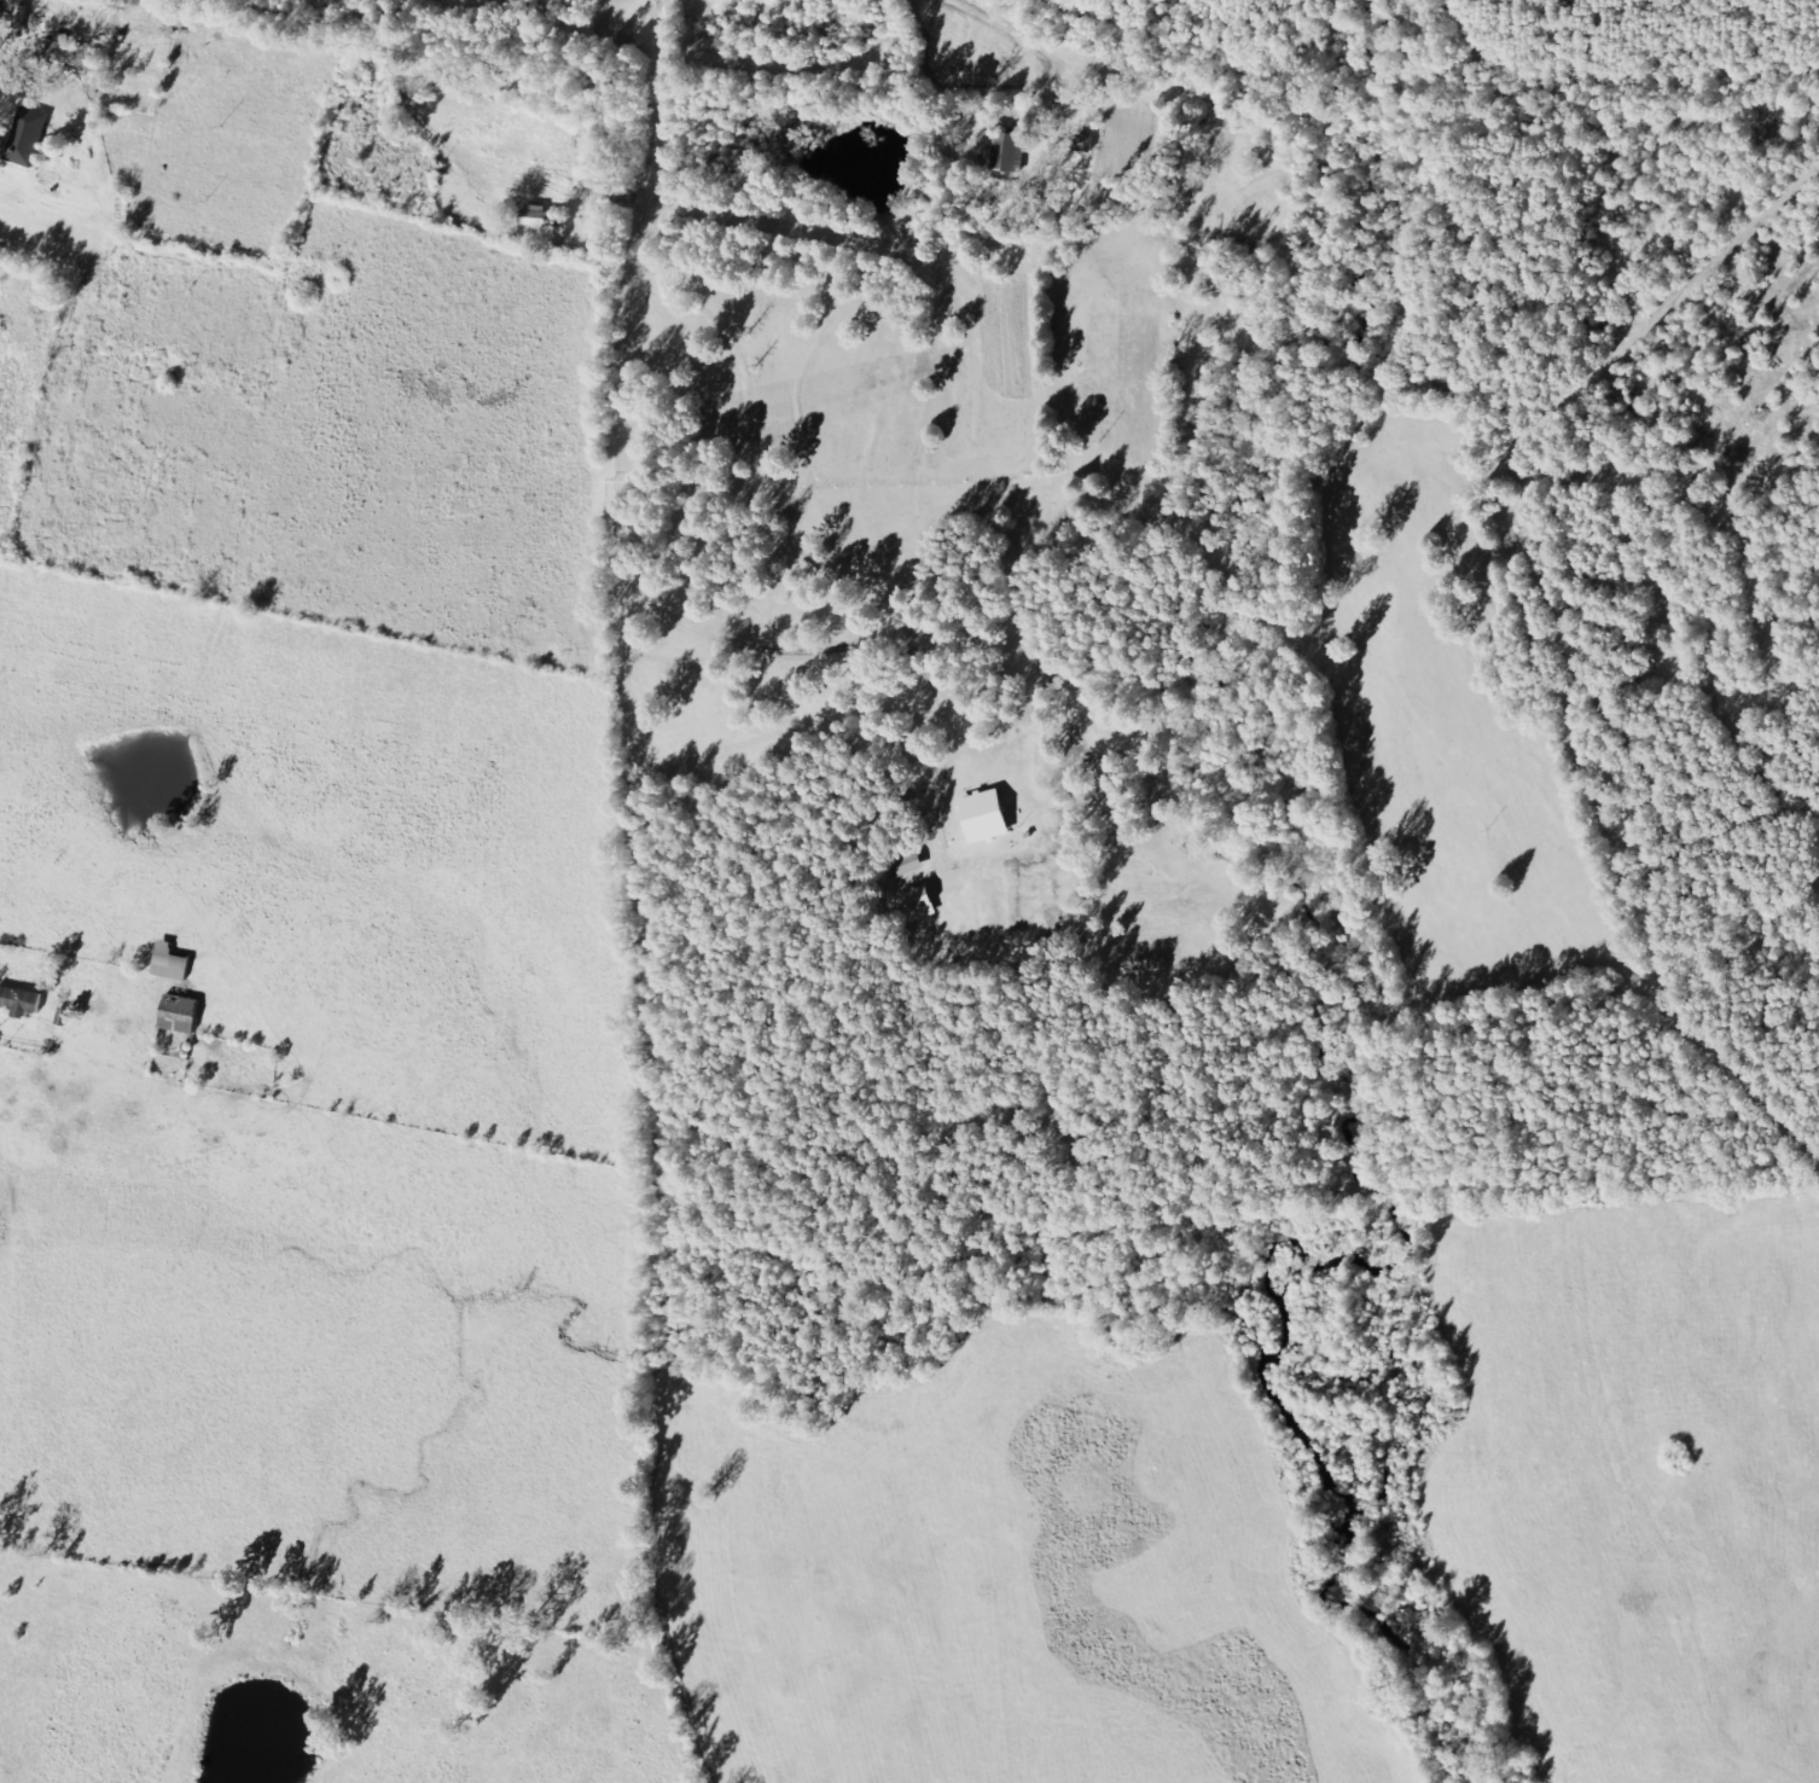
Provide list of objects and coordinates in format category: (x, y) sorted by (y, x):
road: (16, 2)
road: (1112, 31)
road: (209, 62)
building: (30, 138)
building: (1013, 153)
road: (1210, 156)
building: (546, 219)
building: (989, 815)
building: (911, 869)
building: (920, 900)
building: (174, 964)
building: (23, 1001)
building: (182, 1015)

